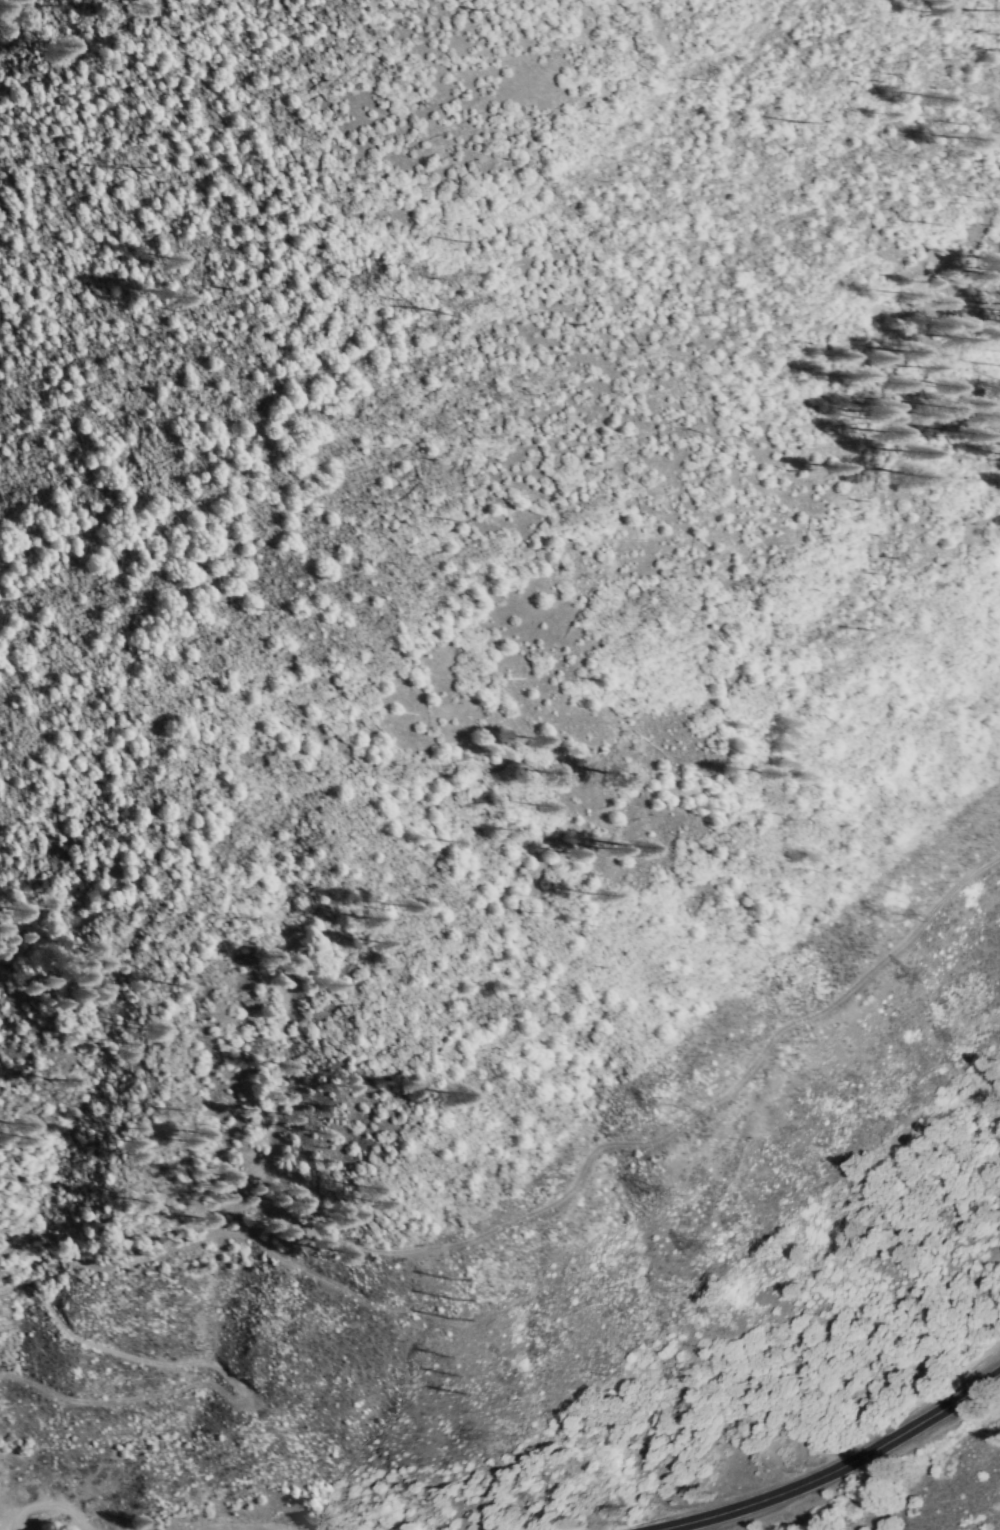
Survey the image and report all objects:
power tower: (888, 911)
power tower: (928, 974)
power tower: (663, 1106)
power tower: (671, 1194)
power tower: (707, 1249)
power tower: (448, 1298)
power tower: (462, 1374)
power tower: (489, 1438)
road: (835, 1470)

